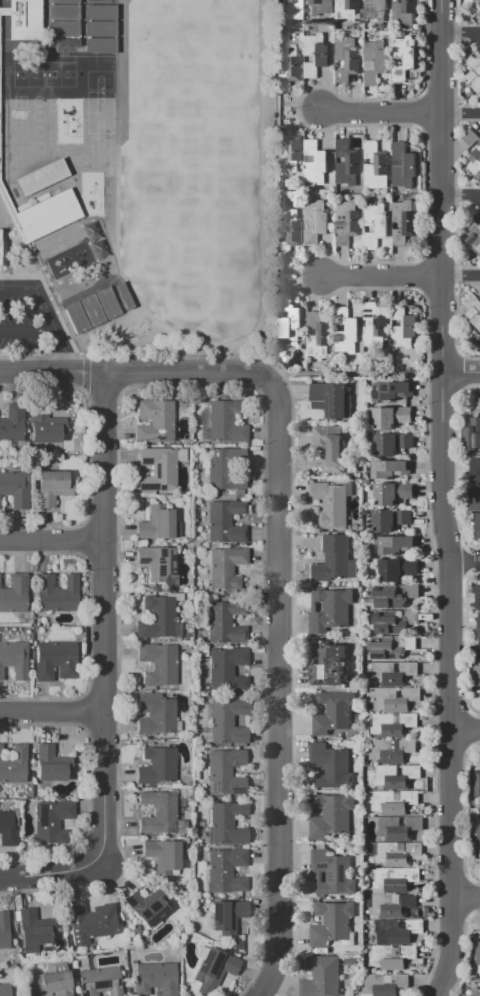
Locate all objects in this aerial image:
building: (64, 1)
building: (477, 2)
building: (293, 9)
building: (318, 9)
building: (346, 10)
building: (374, 11)
building: (403, 11)
building: (4, 12)
building: (64, 12)
building: (102, 12)
building: (26, 20)
building: (64, 29)
building: (102, 29)
road: (461, 31)
building: (64, 46)
building: (102, 47)
building: (315, 55)
building: (403, 58)
building: (346, 59)
building: (375, 62)
building: (288, 67)
building: (99, 73)
building: (473, 74)
building: (44, 75)
building: (20, 76)
building: (99, 89)
road: (379, 112)
road: (460, 113)
building: (470, 137)
building: (287, 152)
building: (475, 158)
building: (318, 162)
building: (346, 165)
park: (195, 166)
building: (375, 166)
building: (403, 166)
building: (42, 177)
road: (460, 194)
building: (49, 214)
building: (12, 215)
building: (347, 220)
building: (316, 222)
building: (404, 222)
building: (376, 224)
building: (288, 230)
building: (475, 236)
building: (0, 241)
road: (380, 276)
road: (460, 276)
road: (16, 289)
building: (125, 295)
building: (108, 303)
building: (472, 308)
building: (92, 311)
building: (76, 319)
building: (288, 319)
building: (374, 327)
building: (402, 327)
road: (25, 329)
road: (51, 329)
building: (345, 331)
building: (317, 335)
building: (479, 338)
road: (133, 371)
road: (461, 373)
road: (354, 375)
building: (392, 392)
building: (330, 399)
building: (478, 406)
building: (391, 418)
building: (155, 422)
building: (225, 423)
building: (12, 424)
building: (45, 429)
building: (471, 434)
building: (393, 445)
building: (330, 447)
building: (224, 468)
building: (158, 469)
building: (390, 470)
building: (475, 470)
building: (53, 486)
building: (15, 488)
building: (392, 494)
road: (443, 499)
building: (474, 500)
building: (0, 504)
building: (330, 504)
building: (390, 521)
building: (157, 523)
building: (224, 523)
building: (477, 525)
road: (52, 542)
building: (398, 546)
building: (333, 560)
road: (465, 560)
building: (156, 563)
building: (225, 567)
building: (397, 570)
building: (57, 594)
building: (14, 595)
building: (396, 597)
building: (477, 597)
building: (330, 610)
road: (103, 617)
building: (157, 618)
building: (225, 621)
building: (396, 622)
building: (478, 627)
building: (392, 648)
building: (15, 659)
building: (55, 660)
building: (159, 663)
building: (330, 666)
building: (226, 670)
building: (476, 671)
building: (394, 672)
road: (278, 688)
building: (394, 699)
road: (51, 714)
building: (156, 714)
building: (333, 714)
building: (227, 722)
building: (393, 724)
road: (466, 730)
building: (205, 737)
building: (393, 749)
building: (52, 765)
building: (14, 766)
building: (156, 766)
building: (331, 766)
building: (226, 773)
building: (397, 777)
building: (477, 786)
building: (394, 802)
building: (158, 813)
building: (332, 816)
building: (51, 823)
building: (226, 824)
building: (7, 827)
building: (399, 829)
building: (478, 840)
building: (398, 855)
building: (164, 856)
building: (226, 871)
road: (50, 874)
building: (334, 874)
building: (397, 880)
road: (467, 897)
building: (147, 906)
building: (394, 906)
building: (228, 917)
building: (91, 922)
building: (331, 923)
building: (5, 929)
building: (35, 929)
building: (399, 931)
building: (477, 957)
building: (393, 958)
building: (218, 965)
building: (323, 977)
building: (156, 978)
building: (100, 981)
building: (386, 985)
building: (52, 986)
building: (5, 990)
building: (475, 991)

